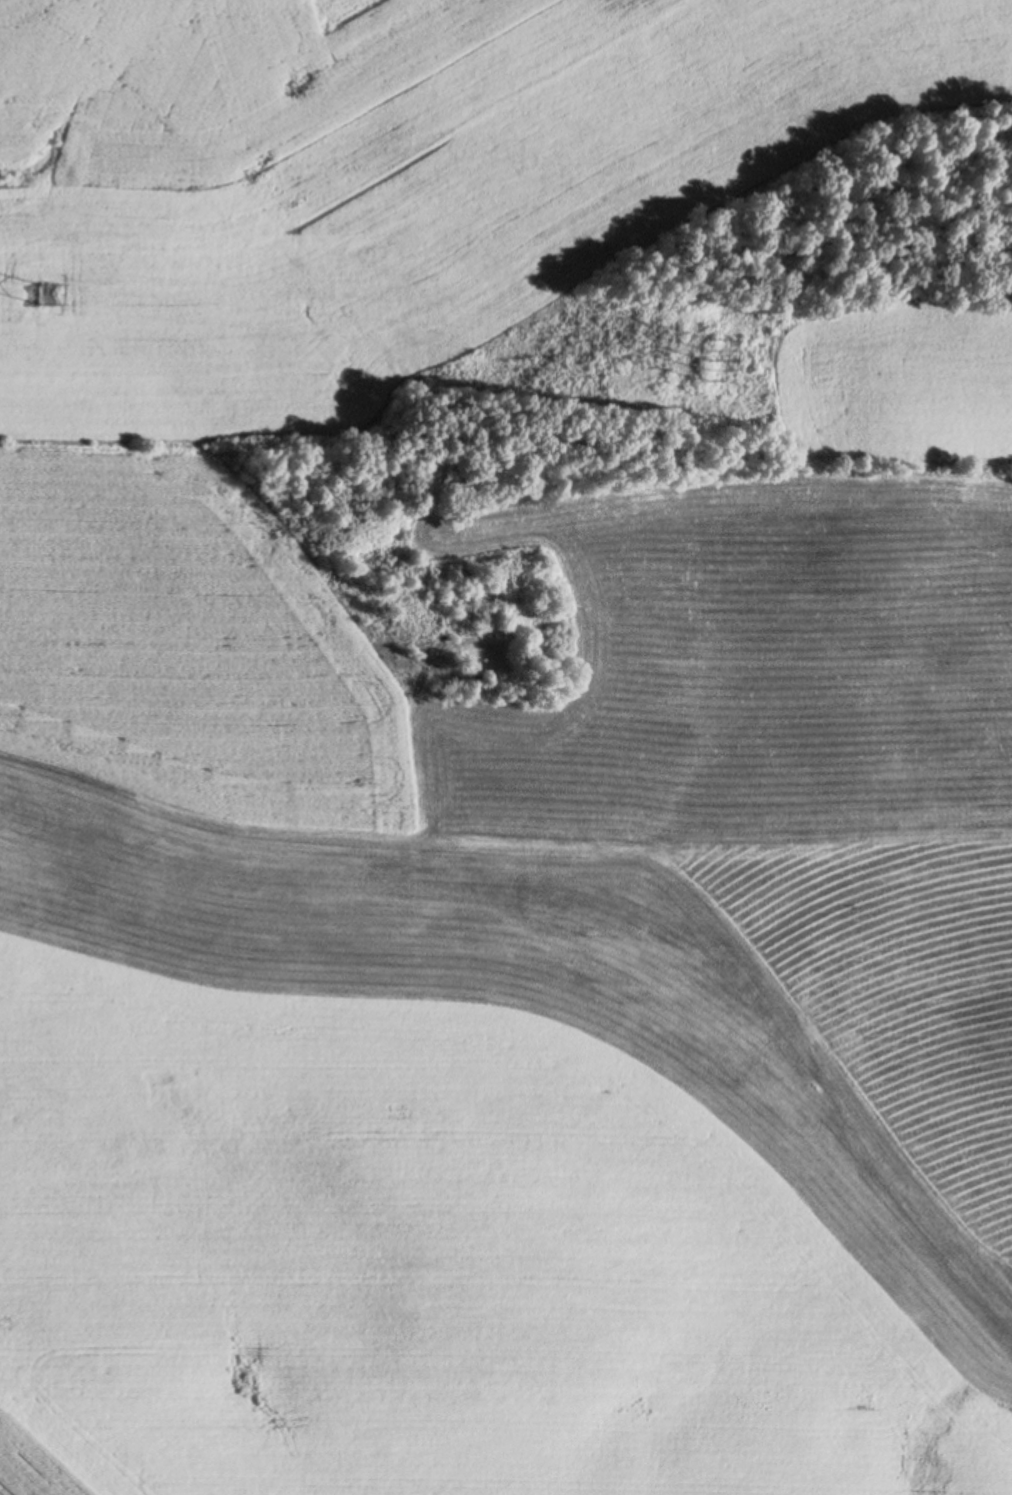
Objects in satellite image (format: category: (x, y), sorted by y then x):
power tower: (46, 294)

